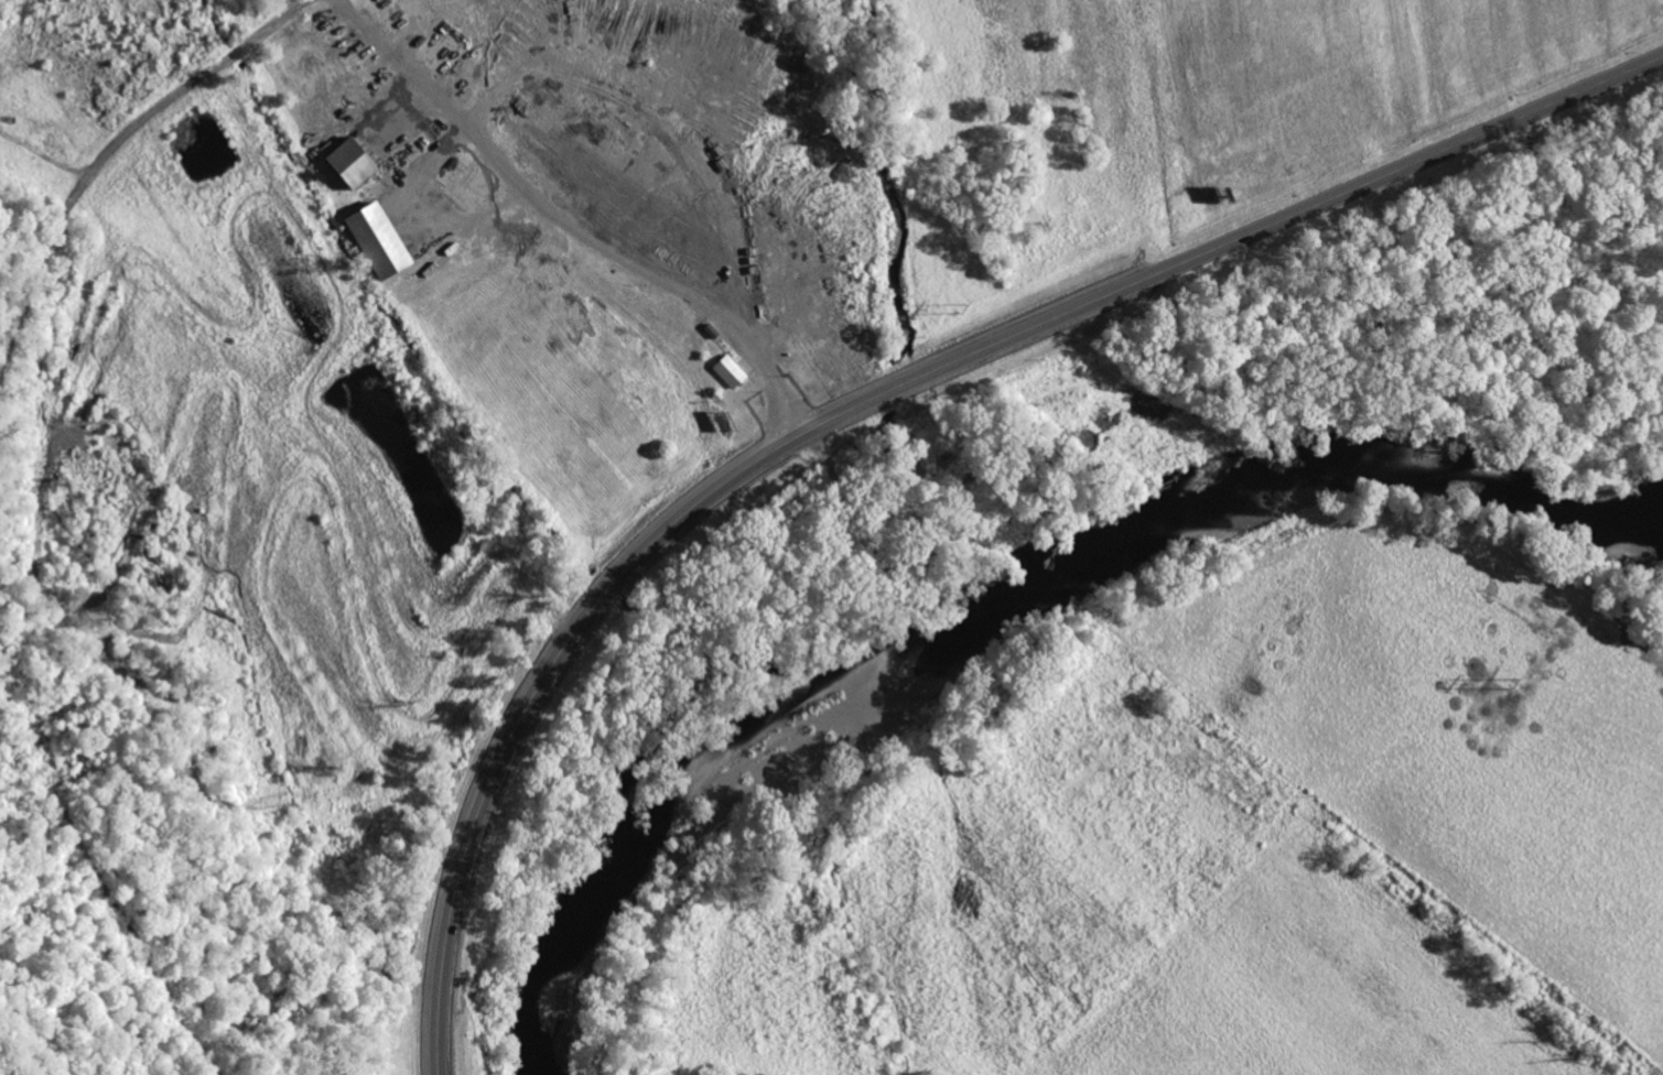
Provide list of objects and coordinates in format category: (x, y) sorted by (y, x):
road: (283, 22)
building: (344, 164)
building: (371, 241)
power tower: (961, 310)
road: (875, 398)
river: (1003, 617)
power tower: (1510, 682)

